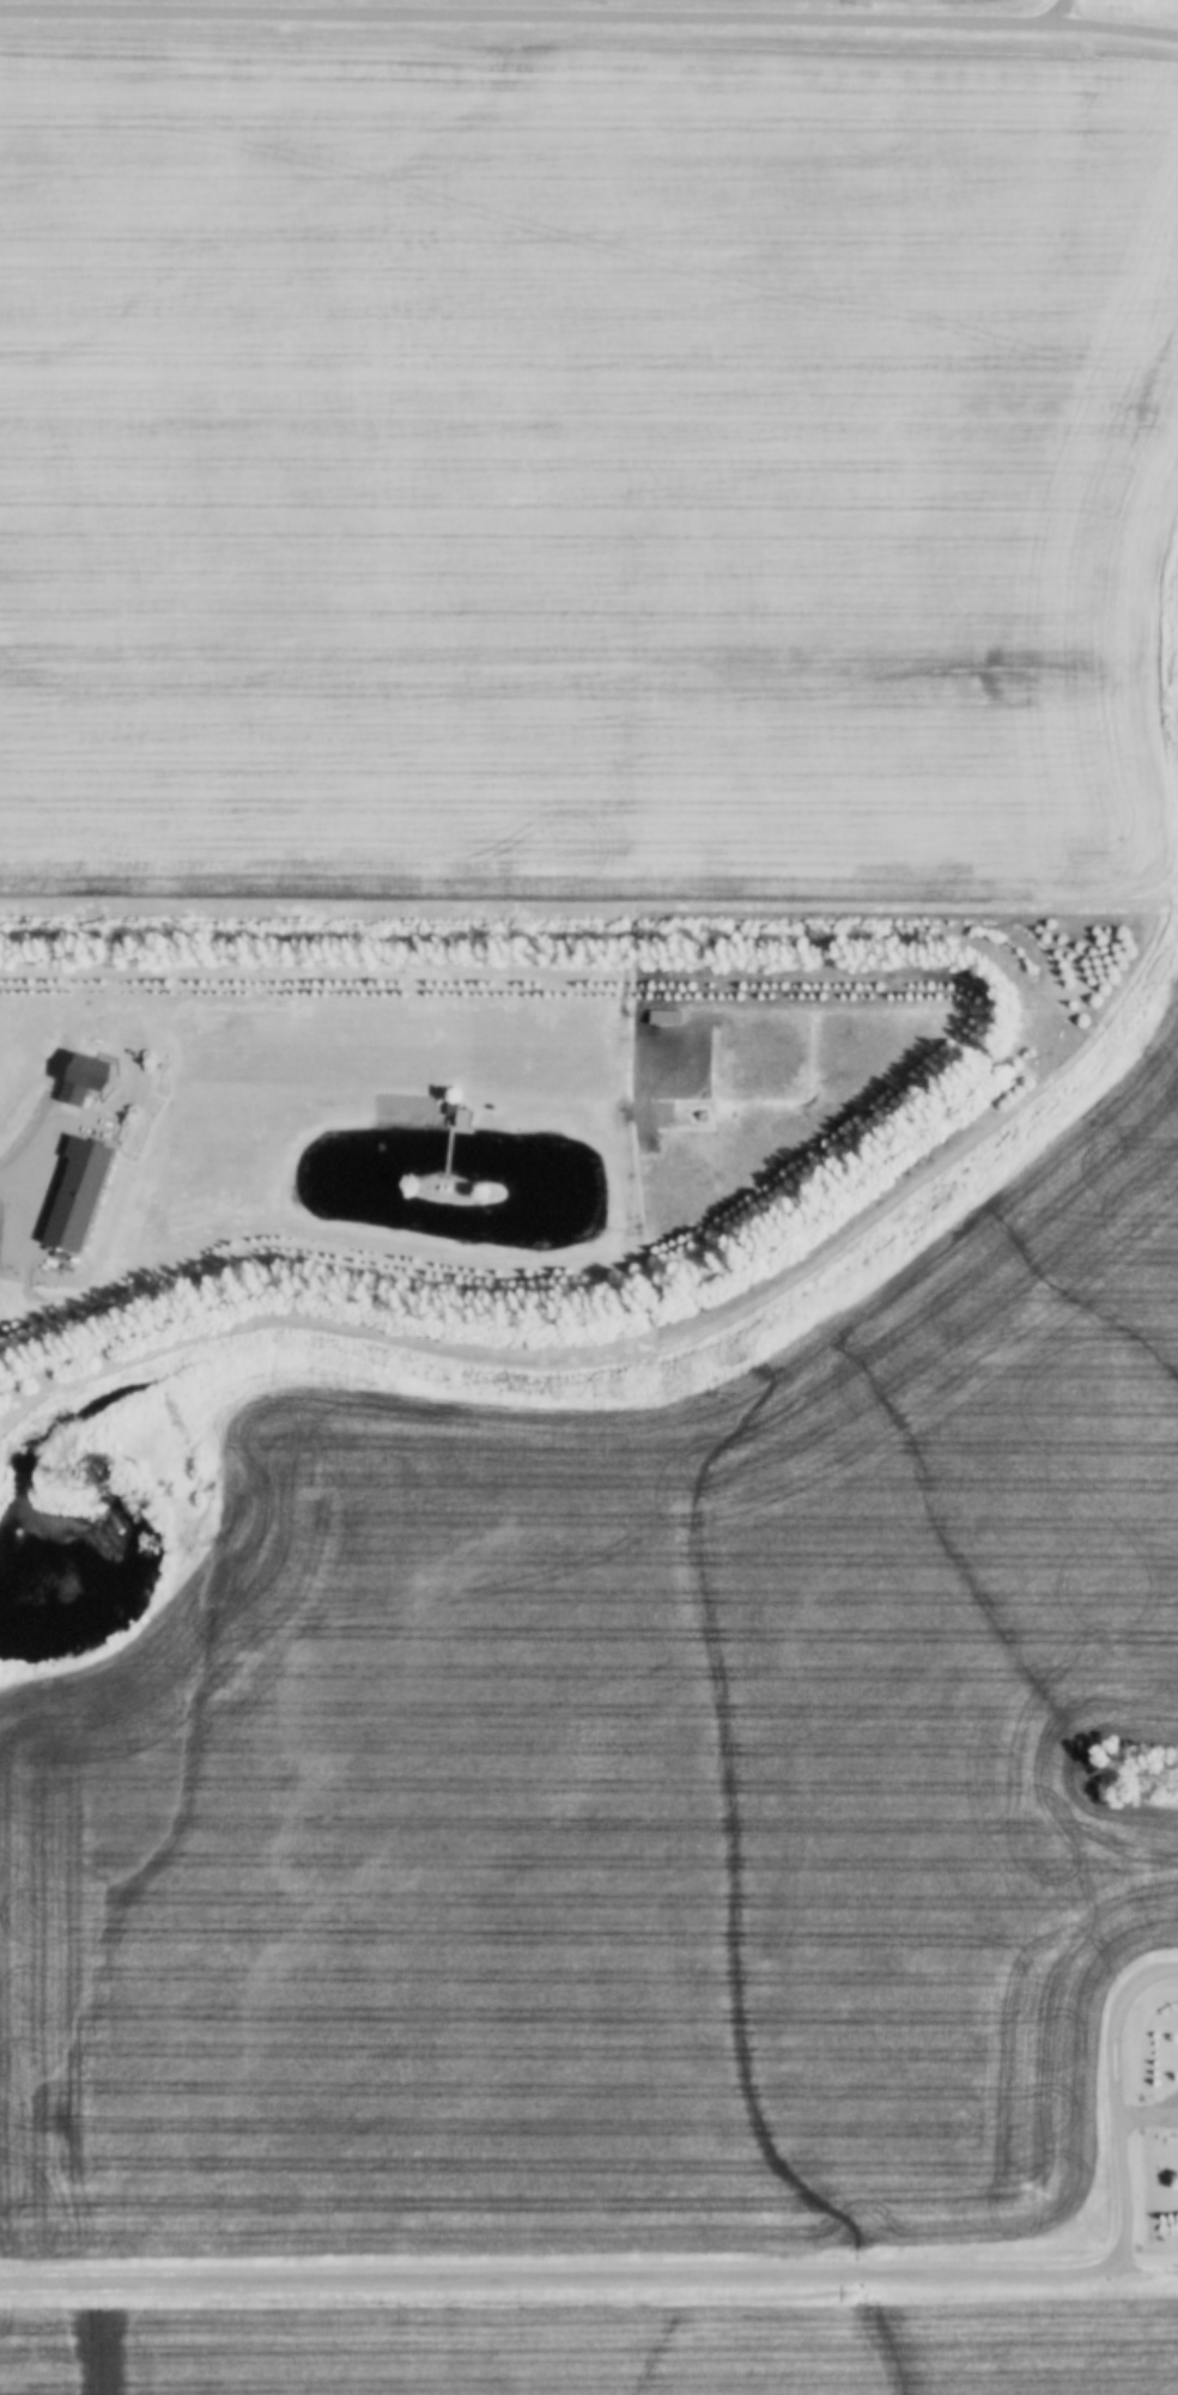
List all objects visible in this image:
road: (1062, 13)
road: (589, 20)
building: (491, 1106)
building: (461, 1110)
road: (448, 1150)
road: (18, 1186)
road: (1143, 2274)
road: (728, 2280)

